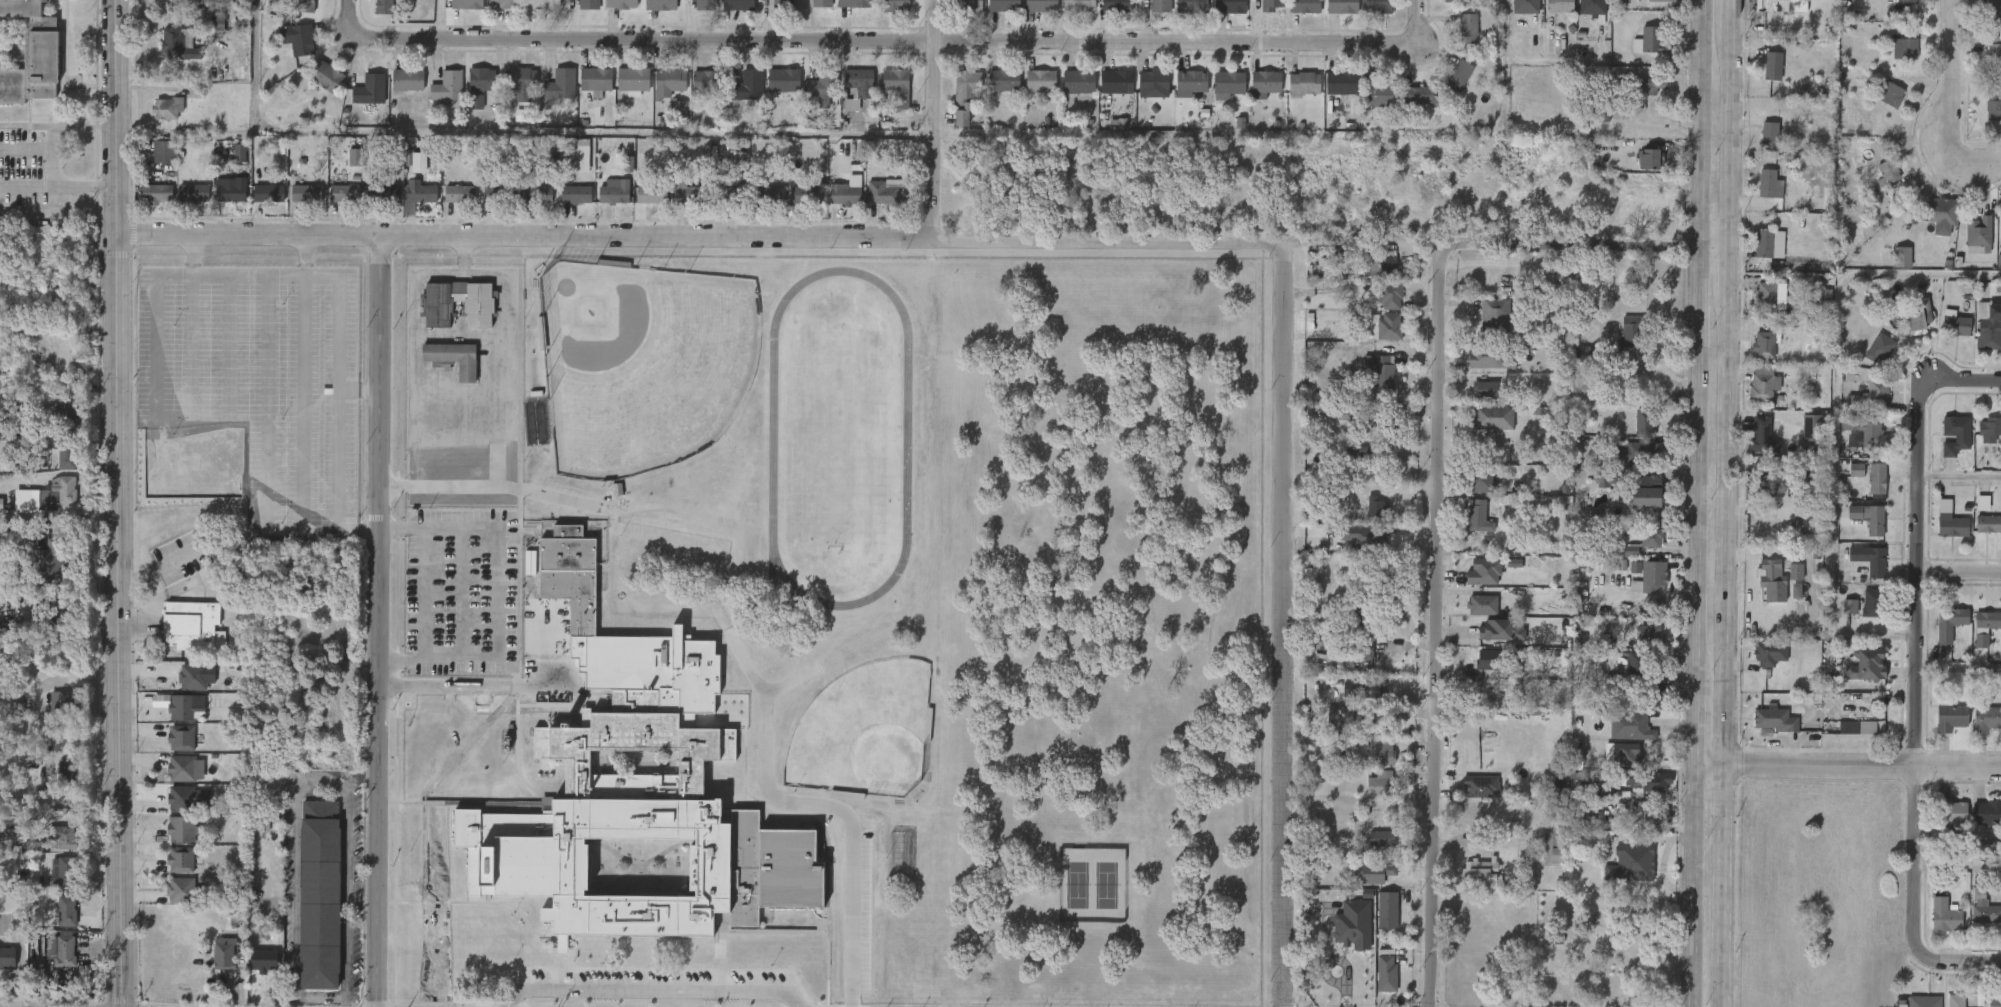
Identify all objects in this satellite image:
building: (1452, 0)
building: (1667, 0)
building: (1910, 1)
building: (466, 3)
building: (821, 3)
building: (621, 4)
building: (854, 4)
building: (504, 5)
building: (541, 5)
building: (587, 5)
building: (705, 5)
building: (737, 5)
building: (968, 5)
building: (1004, 5)
building: (1079, 5)
building: (1561, 5)
building: (1782, 5)
building: (304, 6)
building: (659, 6)
building: (895, 6)
building: (1042, 6)
building: (1116, 6)
building: (1160, 6)
building: (1192, 6)
building: (1302, 6)
building: (1375, 6)
building: (1440, 6)
building: (1525, 6)
building: (1592, 6)
building: (1650, 6)
building: (1894, 6)
building: (385, 7)
building: (782, 7)
building: (1229, 7)
building: (1339, 7)
building: (808, 8)
road: (1733, 9)
building: (1146, 10)
building: (1992, 11)
building: (374, 12)
building: (1105, 12)
building: (1548, 13)
building: (1294, 14)
road: (441, 18)
building: (1984, 22)
building: (1468, 28)
building: (207, 35)
building: (300, 39)
road: (888, 40)
building: (1456, 40)
building: (1654, 40)
building: (176, 42)
building: (1902, 49)
building: (287, 51)
building: (1986, 51)
building: (1993, 52)
building: (30, 53)
building: (1638, 53)
building: (1893, 60)
building: (1985, 65)
building: (1771, 66)
road: (1953, 66)
road: (1502, 67)
building: (1459, 74)
building: (324, 75)
building: (1761, 78)
building: (406, 79)
building: (632, 79)
building: (782, 79)
building: (1004, 79)
building: (594, 80)
building: (1040, 80)
building: (707, 81)
building: (1078, 81)
building: (1116, 81)
building: (519, 82)
building: (668, 82)
building: (1190, 82)
building: (1229, 82)
building: (1265, 82)
building: (1341, 82)
building: (1153, 83)
building: (1304, 83)
building: (1647, 83)
building: (478, 84)
building: (560, 84)
building: (748, 85)
building: (822, 86)
building: (857, 86)
building: (446, 87)
building: (1447, 87)
building: (316, 88)
building: (896, 88)
building: (368, 90)
building: (397, 91)
building: (697, 91)
building: (585, 92)
building: (622, 92)
building: (772, 92)
building: (994, 92)
building: (1029, 92)
building: (964, 93)
building: (1105, 93)
building: (658, 94)
building: (1068, 94)
building: (1179, 94)
building: (1380, 94)
building: (1253, 95)
building: (1293, 95)
building: (1330, 95)
building: (1420, 95)
building: (1889, 95)
building: (550, 96)
building: (1142, 96)
building: (1216, 96)
building: (469, 97)
building: (511, 97)
building: (738, 97)
building: (886, 98)
building: (1639, 100)
building: (359, 101)
building: (810, 101)
building: (954, 106)
building: (1369, 106)
building: (1993, 106)
building: (1411, 107)
building: (1880, 107)
building: (165, 108)
road: (110, 115)
building: (840, 116)
building: (156, 120)
building: (668, 120)
road: (934, 120)
building: (1987, 122)
road: (1698, 124)
road: (535, 129)
road: (1730, 134)
road: (55, 136)
building: (1770, 136)
building: (1758, 148)
building: (163, 152)
road: (1969, 154)
building: (1650, 157)
building: (154, 163)
building: (229, 165)
road: (41, 167)
building: (571, 170)
building: (1639, 171)
building: (1887, 173)
building: (408, 174)
building: (618, 175)
building: (1770, 184)
building: (1875, 184)
building: (729, 188)
building: (228, 189)
building: (690, 191)
building: (192, 192)
building: (267, 192)
building: (380, 192)
building: (458, 192)
building: (154, 193)
building: (304, 193)
building: (344, 193)
building: (612, 193)
building: (883, 193)
building: (498, 194)
building: (536, 194)
building: (766, 194)
building: (574, 195)
building: (650, 196)
building: (804, 196)
building: (848, 196)
building: (1758, 196)
building: (416, 197)
road: (55, 198)
building: (219, 201)
building: (486, 202)
building: (603, 203)
building: (872, 203)
building: (183, 204)
building: (258, 204)
building: (372, 204)
building: (146, 205)
building: (296, 205)
building: (334, 205)
building: (448, 205)
building: (526, 205)
building: (641, 205)
building: (678, 205)
building: (760, 205)
building: (407, 206)
building: (565, 206)
building: (795, 206)
road: (55, 215)
building: (1944, 217)
building: (1930, 226)
building: (1979, 232)
road: (701, 235)
building: (1996, 236)
building: (1765, 243)
road: (1553, 248)
road: (182, 254)
road: (293, 255)
building: (1903, 257)
building: (1379, 264)
building: (1890, 268)
road: (1727, 273)
building: (1993, 273)
road: (182, 281)
building: (1551, 287)
building: (1387, 295)
building: (1765, 295)
building: (1758, 306)
building: (477, 307)
building: (1379, 308)
building: (1495, 313)
building: (1921, 316)
building: (1483, 326)
building: (1908, 326)
building: (1955, 326)
building: (1387, 328)
building: (1988, 328)
building: (1943, 335)
building: (1378, 337)
building: (1979, 341)
building: (1616, 343)
building: (1764, 345)
building: (1878, 348)
building: (1487, 356)
building: (1753, 356)
building: (452, 358)
building: (1868, 360)
park: (640, 363)
building: (1573, 364)
building: (443, 369)
building: (1379, 371)
building: (1479, 371)
building: (1368, 383)
building: (1764, 384)
road: (1967, 384)
building: (1486, 388)
parking lot: (249, 395)
building: (1751, 395)
road: (256, 396)
road: (181, 397)
road: (218, 397)
building: (1867, 398)
road: (364, 399)
building: (1476, 400)
road: (292, 409)
building: (1491, 416)
building: (67, 417)
road: (1834, 417)
building: (1373, 421)
building: (1644, 423)
building: (55, 426)
building: (1957, 426)
building: (1813, 427)
building: (1482, 429)
building: (1990, 429)
building: (1863, 431)
building: (1632, 434)
building: (1760, 435)
park: (836, 437)
road: (145, 438)
building: (1800, 439)
building: (1978, 441)
building: (1855, 444)
building: (1749, 446)
building: (1944, 446)
building: (1639, 452)
building: (67, 453)
building: (1369, 454)
road: (1696, 462)
building: (1351, 463)
building: (1632, 464)
building: (56, 469)
building: (1606, 476)
road: (1961, 476)
building: (1875, 479)
building: (1480, 480)
building: (1757, 481)
building: (1844, 481)
building: (66, 490)
building: (1865, 490)
building: (1594, 491)
building: (1647, 491)
building: (1811, 493)
building: (1470, 494)
building: (56, 502)
building: (1634, 502)
building: (1376, 507)
building: (448, 512)
building: (1971, 514)
building: (1476, 516)
building: (1869, 518)
building: (1364, 519)
building: (1987, 523)
building: (1950, 525)
building: (1467, 528)
building: (1857, 529)
building: (1939, 533)
building: (1979, 535)
building: (1362, 536)
building: (1649, 537)
building: (2000, 537)
road: (337, 541)
road: (364, 541)
building: (1352, 547)
building: (1639, 549)
building: (1867, 561)
building: (1617, 562)
building: (47, 565)
building: (1781, 567)
building: (1858, 571)
building: (1657, 572)
road: (1959, 572)
building: (569, 574)
building: (1472, 583)
building: (1784, 583)
building: (1758, 585)
building: (1641, 587)
parking lot: (460, 592)
road: (495, 593)
building: (1623, 597)
building: (1784, 602)
building: (1874, 603)
building: (1860, 614)
building: (1471, 616)
building: (1838, 618)
road: (116, 619)
road: (381, 620)
building: (1988, 620)
building: (1360, 621)
building: (1951, 623)
building: (189, 625)
road: (1290, 625)
road: (1440, 626)
building: (1978, 631)
building: (1644, 635)
building: (1938, 635)
road: (547, 637)
road: (731, 640)
building: (1489, 641)
building: (2000, 641)
building: (1638, 647)
road: (1919, 647)
road: (1723, 651)
building: (1768, 652)
building: (1969, 652)
building: (1308, 657)
building: (1487, 658)
building: (1637, 663)
building: (1355, 664)
building: (1758, 665)
building: (1868, 665)
road: (1959, 667)
building: (1477, 671)
building: (1618, 674)
building: (194, 677)
building: (1855, 677)
road: (471, 686)
building: (186, 687)
building: (1366, 690)
building: (1652, 693)
building: (1363, 701)
building: (61, 702)
building: (1647, 705)
building: (183, 709)
building: (52, 715)
building: (1337, 716)
building: (1948, 716)
building: (1985, 716)
road: (1694, 719)
building: (1774, 721)
building: (1637, 727)
building: (1856, 727)
building: (1328, 728)
building: (1939, 729)
building: (1976, 730)
building: (1761, 732)
park: (860, 733)
building: (1999, 733)
building: (182, 738)
building: (1628, 738)
building: (1845, 739)
building: (170, 749)
building: (1378, 751)
building: (1626, 753)
building: (1370, 763)
building: (1610, 764)
road: (1847, 766)
building: (183, 768)
building: (66, 771)
building: (176, 780)
building: (56, 781)
building: (1558, 782)
building: (1380, 784)
building: (1658, 784)
building: (1480, 787)
road: (313, 792)
building: (1644, 794)
building: (1368, 795)
building: (1469, 798)
building: (182, 799)
building: (1595, 802)
building: (171, 809)
building: (1948, 812)
building: (1986, 813)
building: (1657, 817)
building: (1976, 824)
building: (1942, 825)
building: (1646, 827)
building: (1999, 829)
building: (181, 830)
building: (628, 833)
building: (1379, 839)
building: (63, 840)
building: (172, 841)
building: (1555, 844)
building: (55, 849)
building: (1370, 850)
building: (178, 859)
building: (1541, 860)
building: (1629, 863)
road: (1960, 864)
building: (170, 871)
building: (67, 873)
building: (1370, 873)
building: (1479, 874)
building: (51, 883)
building: (1361, 884)
road: (1691, 885)
building: (1468, 887)
building: (180, 890)
building: (317, 895)
building: (173, 901)
building: (1983, 907)
building: (1385, 910)
building: (67, 912)
building: (1945, 915)
building: (1973, 919)
building: (1998, 919)
building: (1376, 921)
building: (56, 922)
building: (1933, 927)
building: (711, 930)
building: (1342, 936)
building: (225, 949)
building: (58, 950)
building: (7, 958)
building: (268, 962)
building: (216, 964)
road: (1937, 967)
building: (253, 970)
building: (1384, 974)
building: (1375, 984)
road: (647, 989)
building: (1922, 1001)
building: (1954, 1001)
building: (1994, 1001)
building: (1944, 1006)

